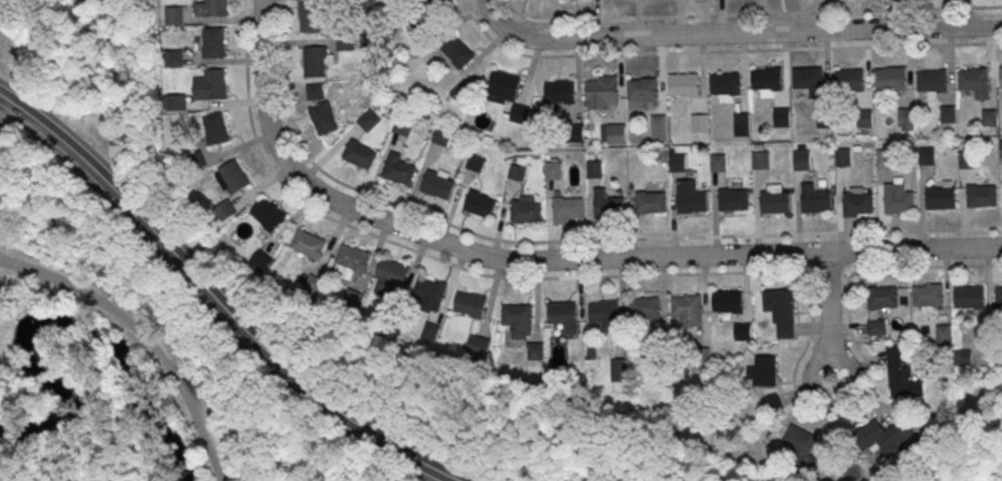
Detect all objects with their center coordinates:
building: (440, 7)
building: (219, 9)
road: (750, 13)
building: (175, 17)
building: (312, 19)
road: (734, 33)
building: (215, 45)
road: (721, 50)
building: (458, 54)
building: (176, 60)
building: (315, 63)
building: (1000, 75)
building: (765, 77)
building: (807, 77)
building: (890, 77)
building: (973, 78)
building: (849, 79)
building: (931, 80)
building: (683, 83)
building: (724, 83)
building: (212, 88)
building: (640, 88)
building: (503, 89)
building: (316, 91)
building: (559, 91)
building: (601, 91)
building: (463, 95)
building: (178, 105)
building: (323, 116)
building: (520, 116)
building: (948, 116)
building: (782, 119)
building: (906, 119)
road: (11, 120)
building: (369, 120)
building: (824, 120)
building: (865, 120)
building: (990, 120)
road: (251, 124)
building: (699, 125)
building: (742, 125)
building: (402, 126)
building: (215, 127)
building: (659, 129)
building: (617, 135)
building: (441, 136)
building: (575, 136)
building: (1001, 151)
building: (359, 153)
building: (928, 158)
building: (842, 159)
building: (885, 160)
building: (967, 161)
building: (761, 162)
building: (802, 162)
building: (476, 164)
building: (677, 165)
building: (719, 165)
building: (594, 171)
building: (400, 172)
building: (517, 172)
building: (553, 172)
building: (232, 176)
building: (438, 187)
building: (982, 194)
building: (690, 197)
building: (940, 197)
building: (733, 198)
building: (815, 198)
building: (899, 200)
building: (650, 201)
building: (774, 201)
building: (857, 202)
building: (480, 207)
building: (226, 209)
building: (568, 210)
building: (610, 210)
building: (268, 213)
building: (527, 214)
road: (564, 240)
building: (307, 242)
building: (261, 260)
building: (353, 260)
road: (548, 260)
building: (393, 275)
road: (659, 275)
building: (315, 287)
building: (431, 293)
building: (928, 298)
building: (970, 299)
building: (999, 299)
building: (883, 300)
building: (353, 301)
road: (216, 302)
building: (778, 302)
park: (229, 303)
building: (728, 303)
building: (471, 307)
building: (687, 309)
building: (646, 310)
building: (605, 314)
building: (563, 315)
road: (830, 315)
building: (393, 317)
building: (519, 322)
river: (65, 328)
building: (877, 329)
road: (160, 330)
building: (430, 334)
building: (944, 337)
road: (142, 338)
road: (211, 348)
building: (479, 348)
building: (535, 353)
building: (660, 358)
building: (703, 361)
building: (619, 372)
building: (764, 373)
building: (901, 377)
building: (773, 406)
road: (833, 419)
park: (88, 420)
building: (882, 435)
building: (801, 449)
park: (961, 455)

